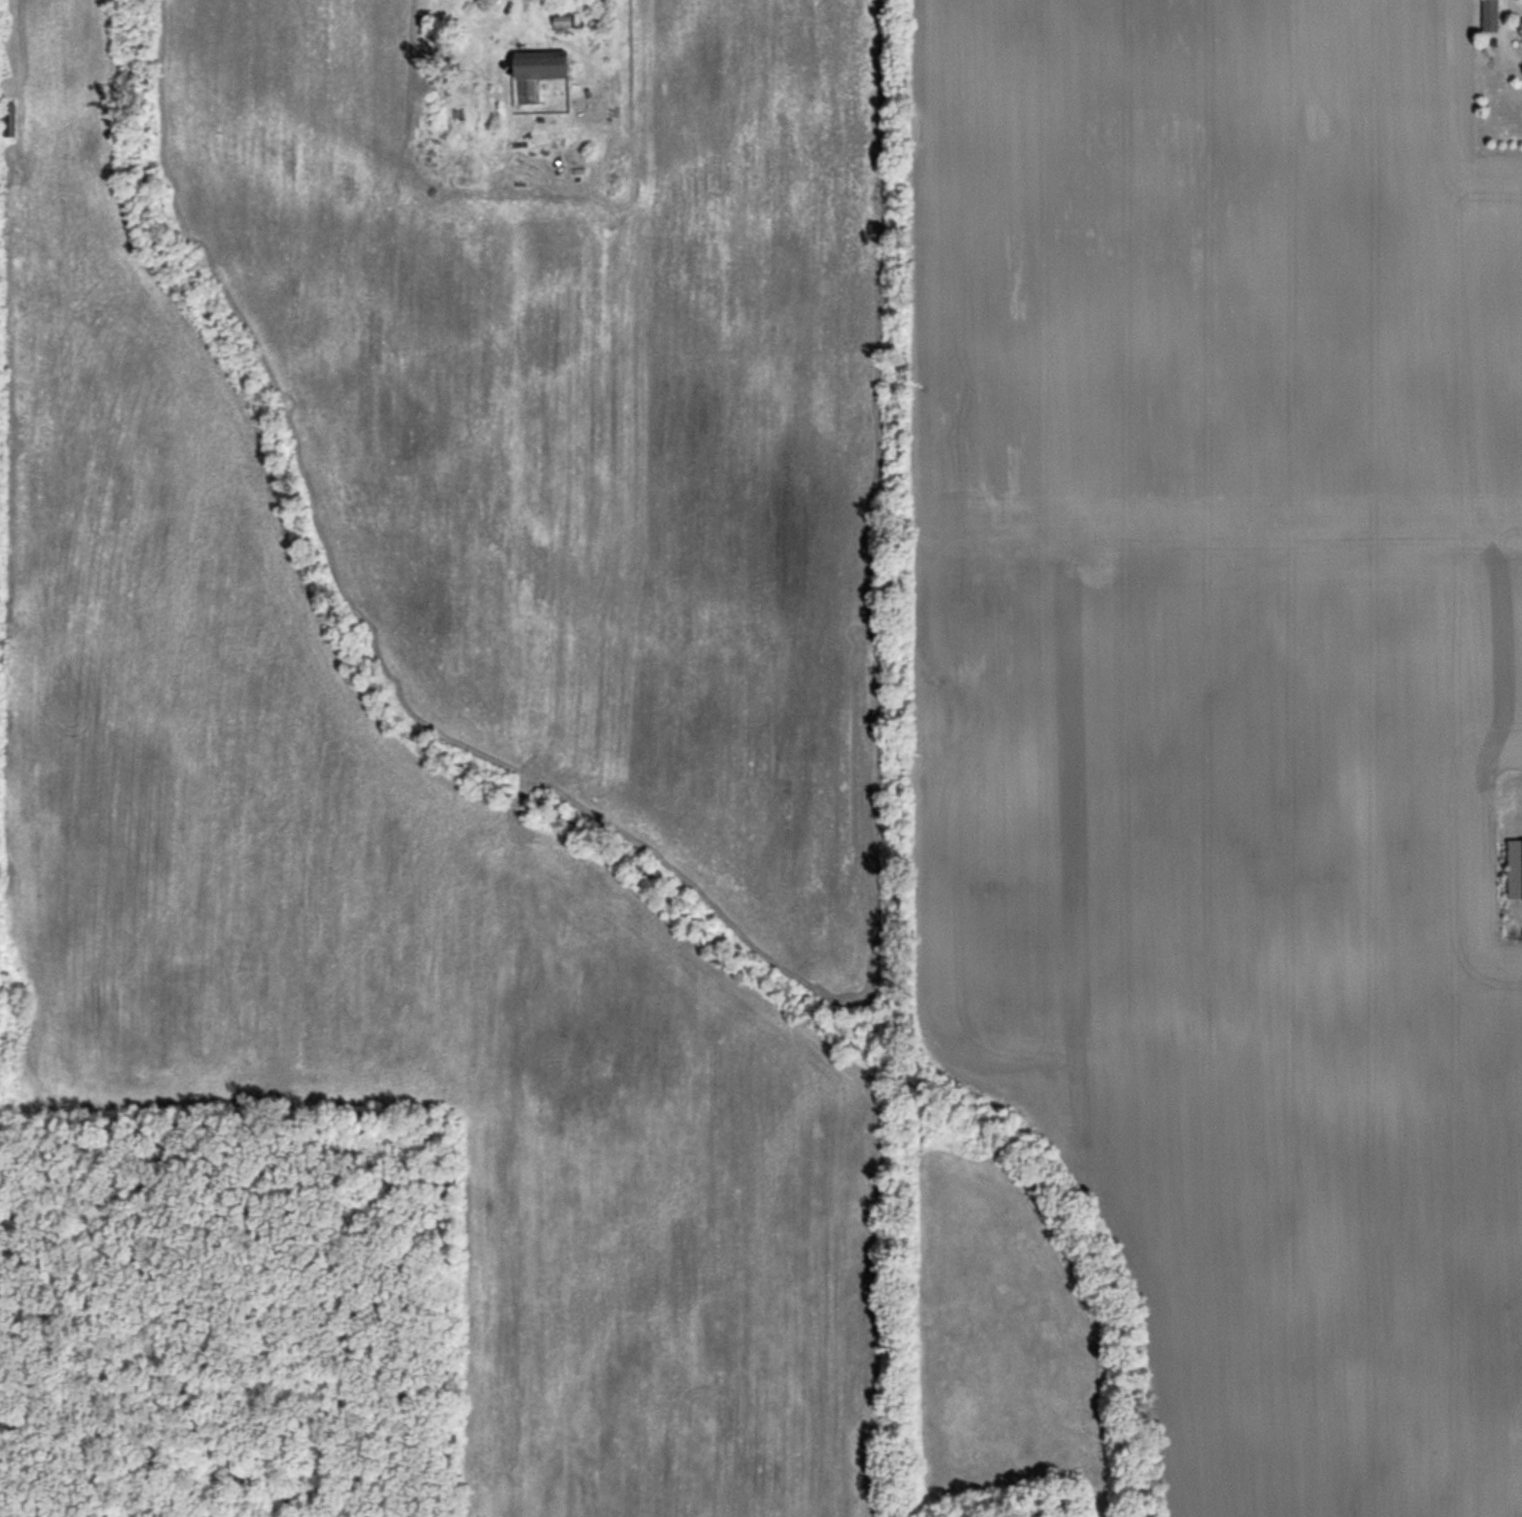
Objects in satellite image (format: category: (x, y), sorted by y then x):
building: (1488, 15)
building: (561, 20)
building: (539, 71)
building: (1514, 869)

